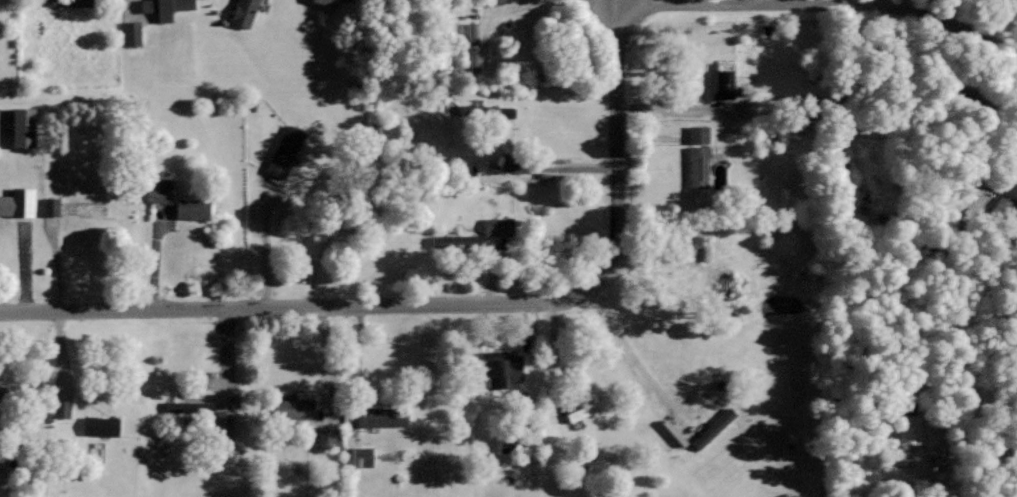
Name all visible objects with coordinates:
road: (613, 1)
building: (62, 2)
building: (325, 2)
road: (820, 2)
building: (162, 7)
building: (241, 12)
building: (128, 32)
building: (470, 46)
building: (723, 79)
building: (498, 111)
building: (20, 127)
building: (282, 151)
building: (696, 157)
building: (512, 163)
building: (158, 190)
building: (16, 202)
building: (48, 206)
building: (190, 209)
building: (496, 226)
road: (506, 228)
building: (691, 240)
road: (442, 302)
building: (498, 368)
building: (2, 396)
building: (185, 406)
building: (59, 408)
building: (291, 409)
building: (585, 409)
building: (381, 417)
building: (98, 425)
building: (221, 425)
building: (707, 431)
building: (327, 437)
building: (359, 457)

